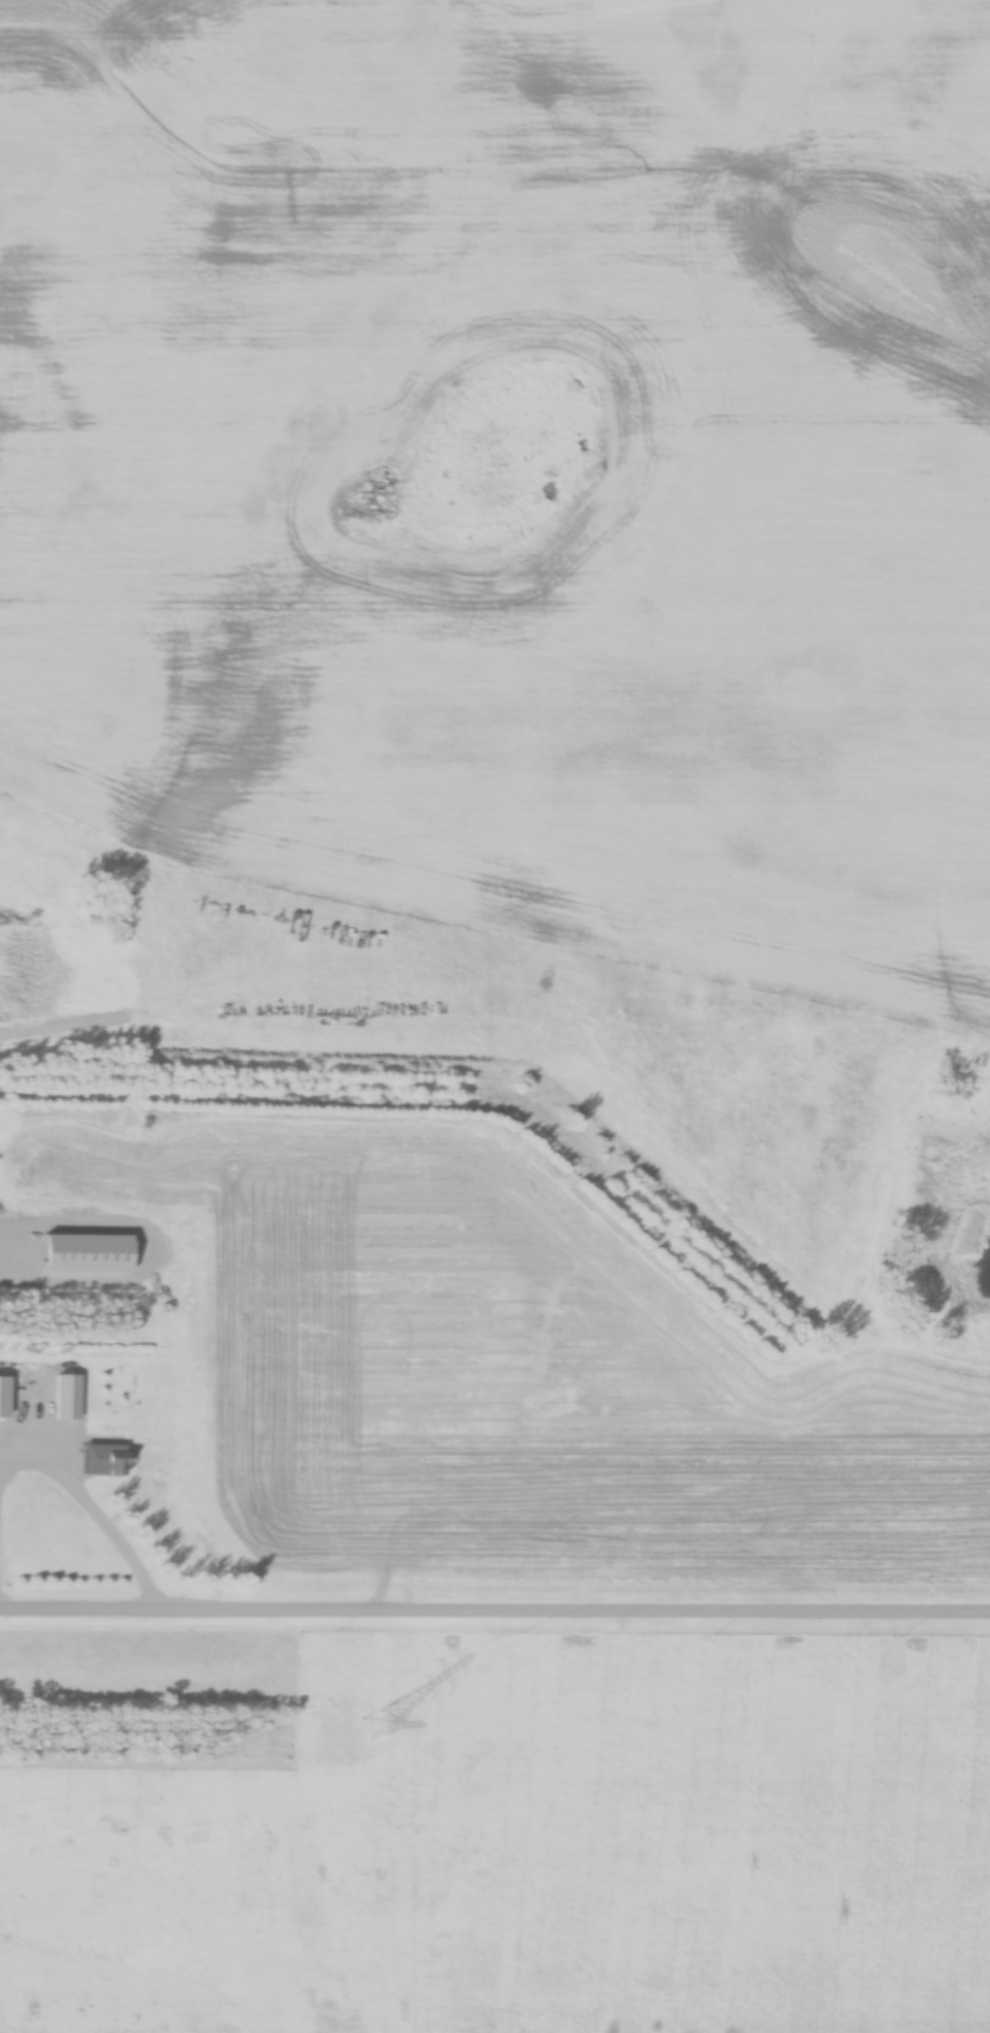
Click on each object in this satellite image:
building: (4, 1396)
building: (67, 1396)
building: (105, 1459)
road: (495, 1611)
power tower: (376, 1723)

